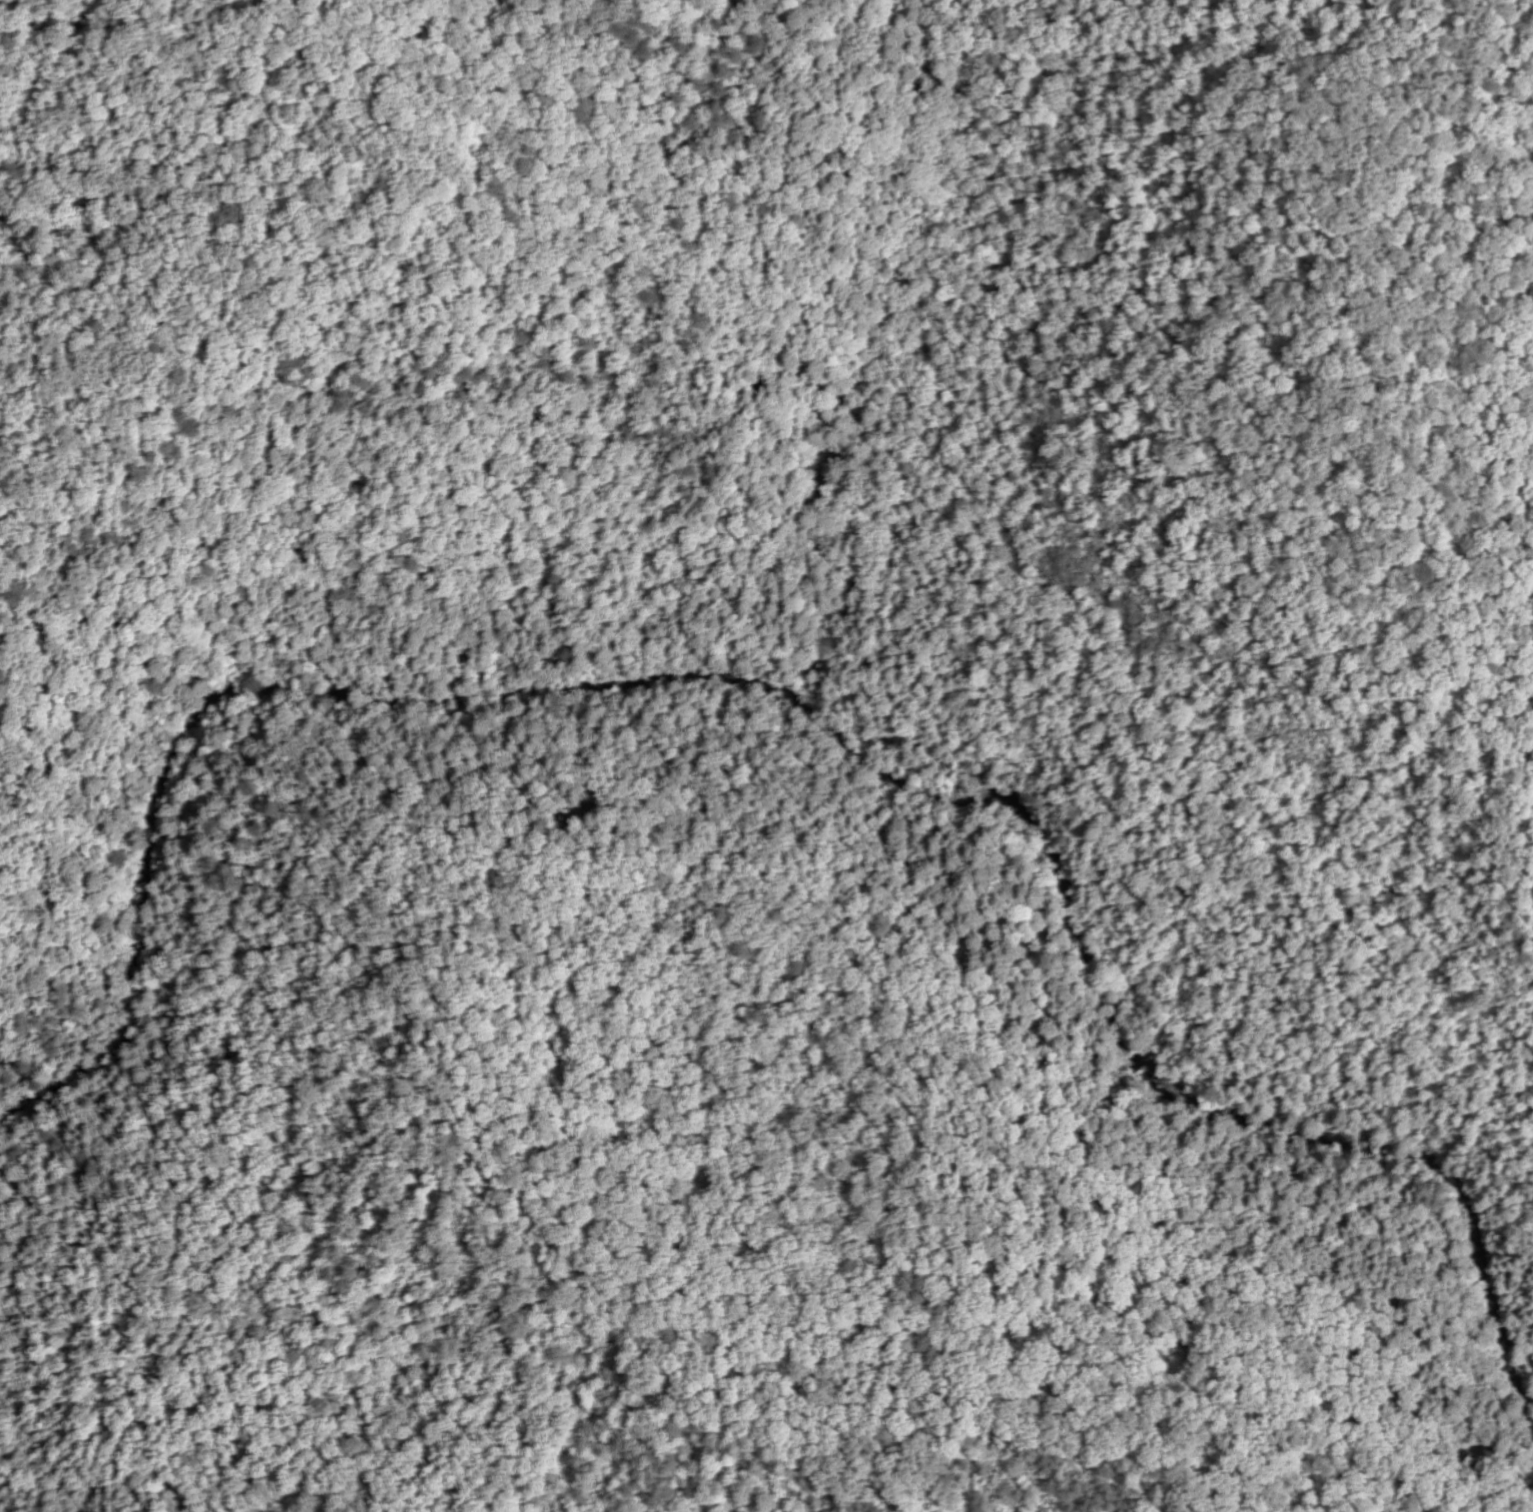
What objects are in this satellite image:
road: (298, 250)

